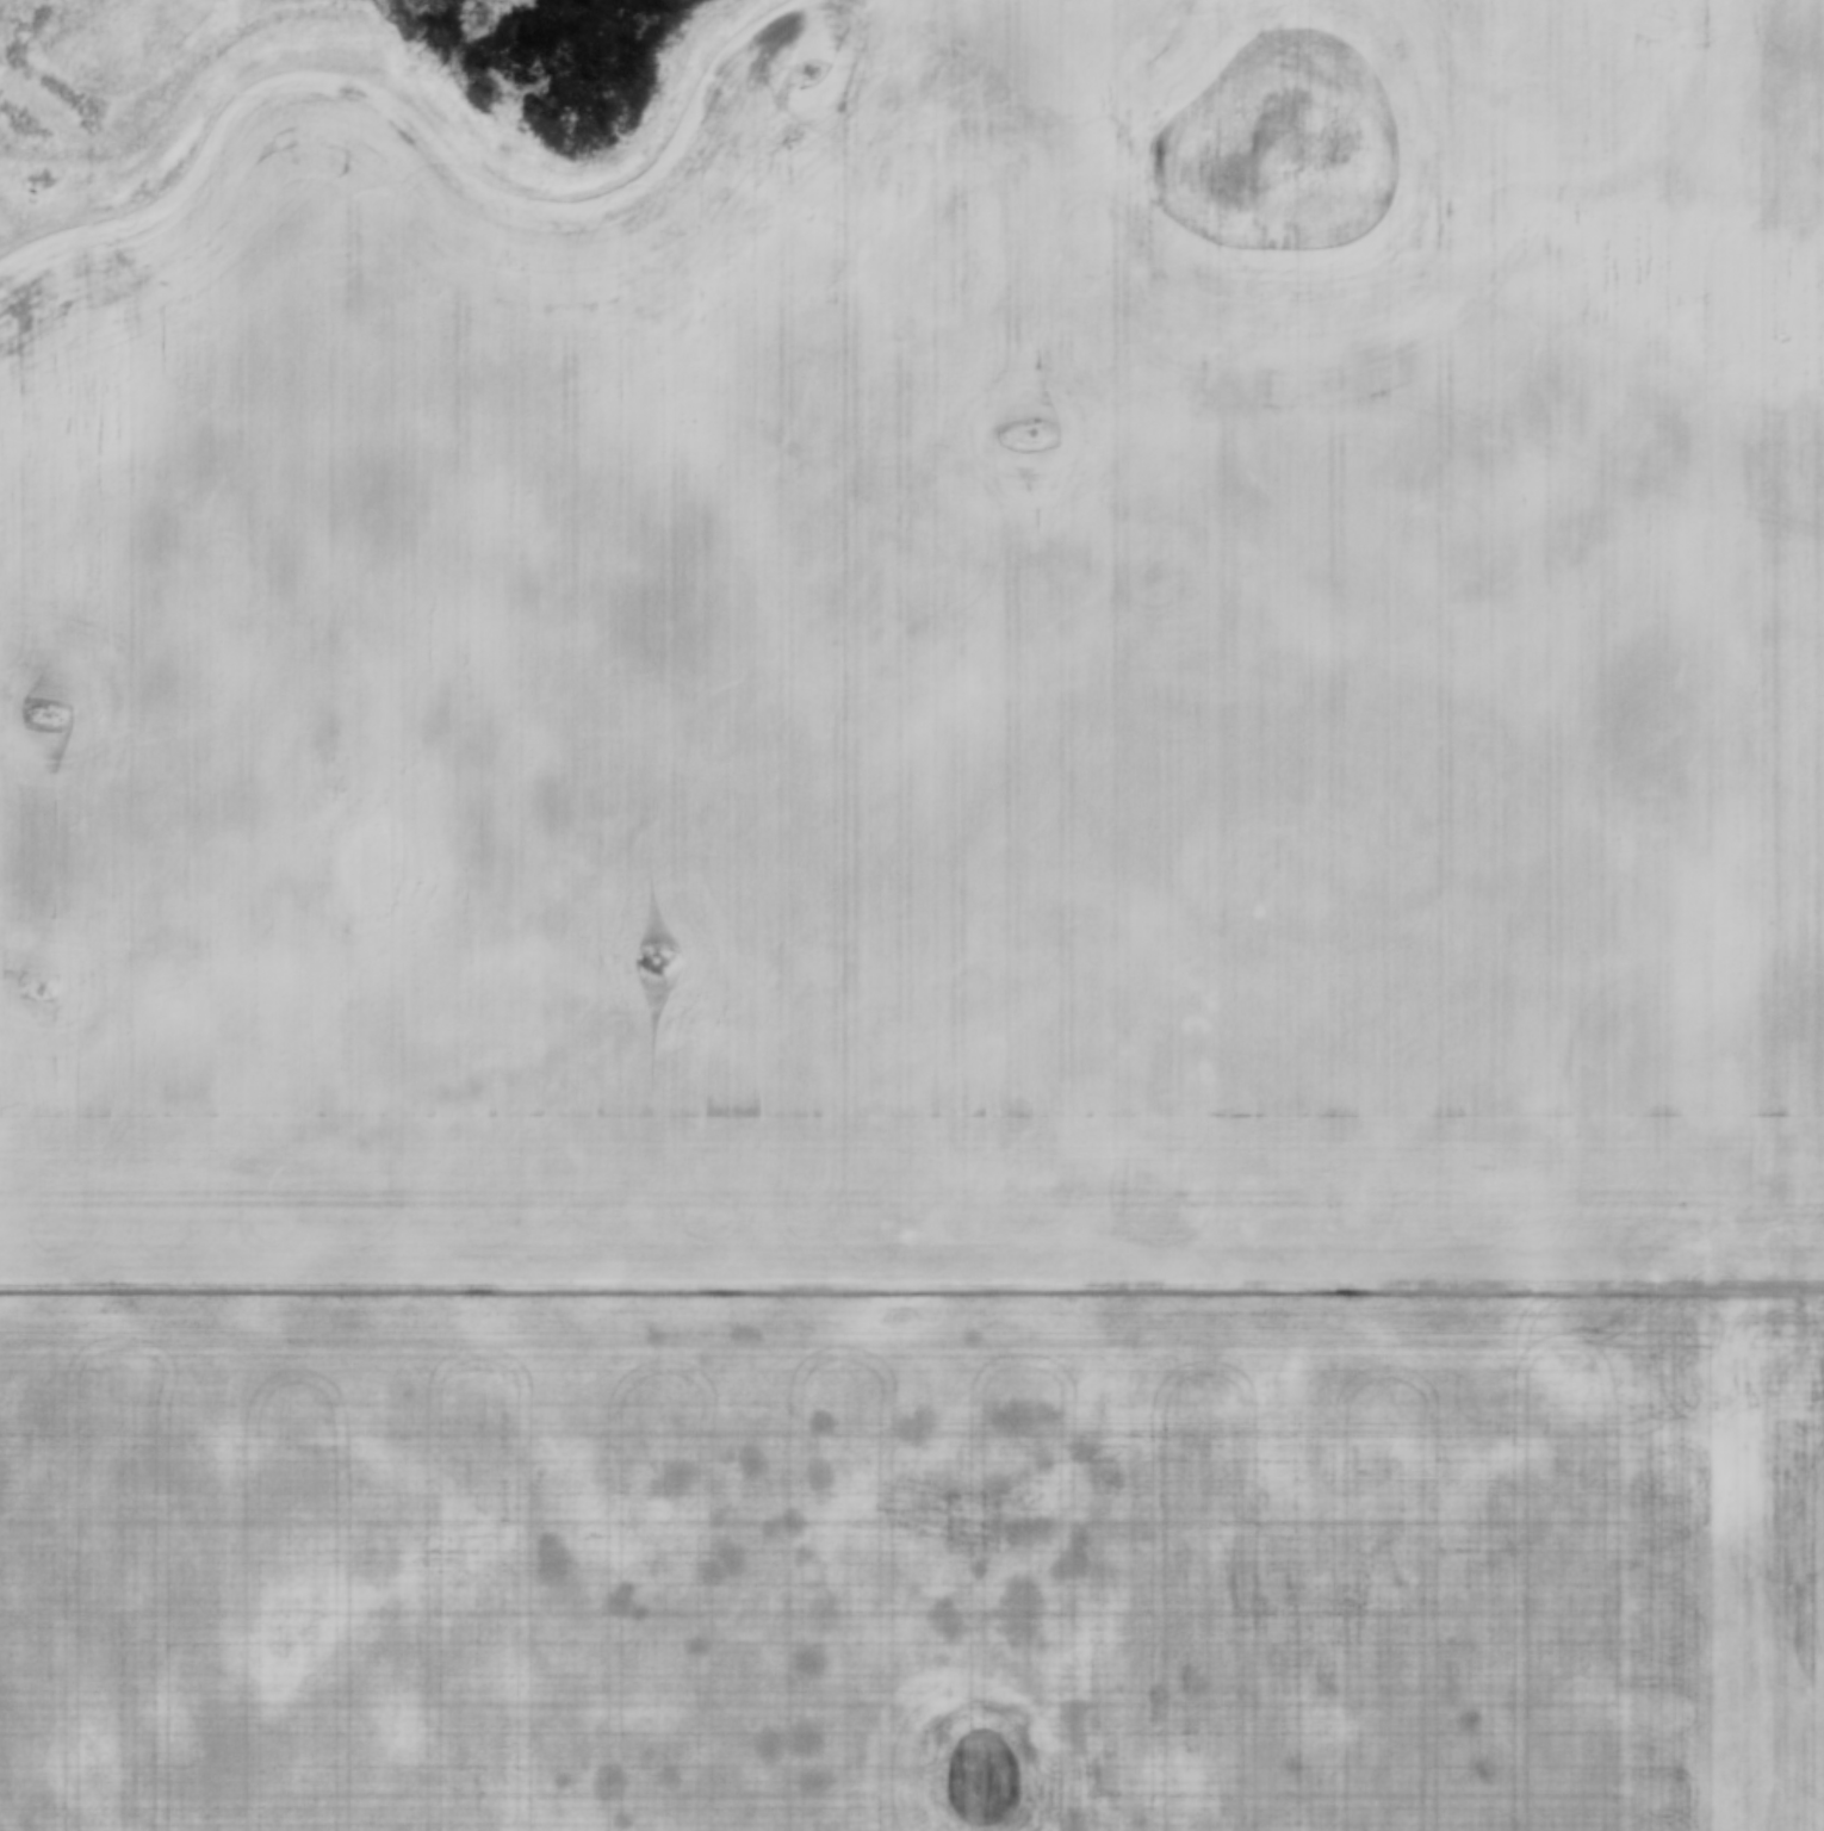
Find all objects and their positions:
road: (911, 1292)

